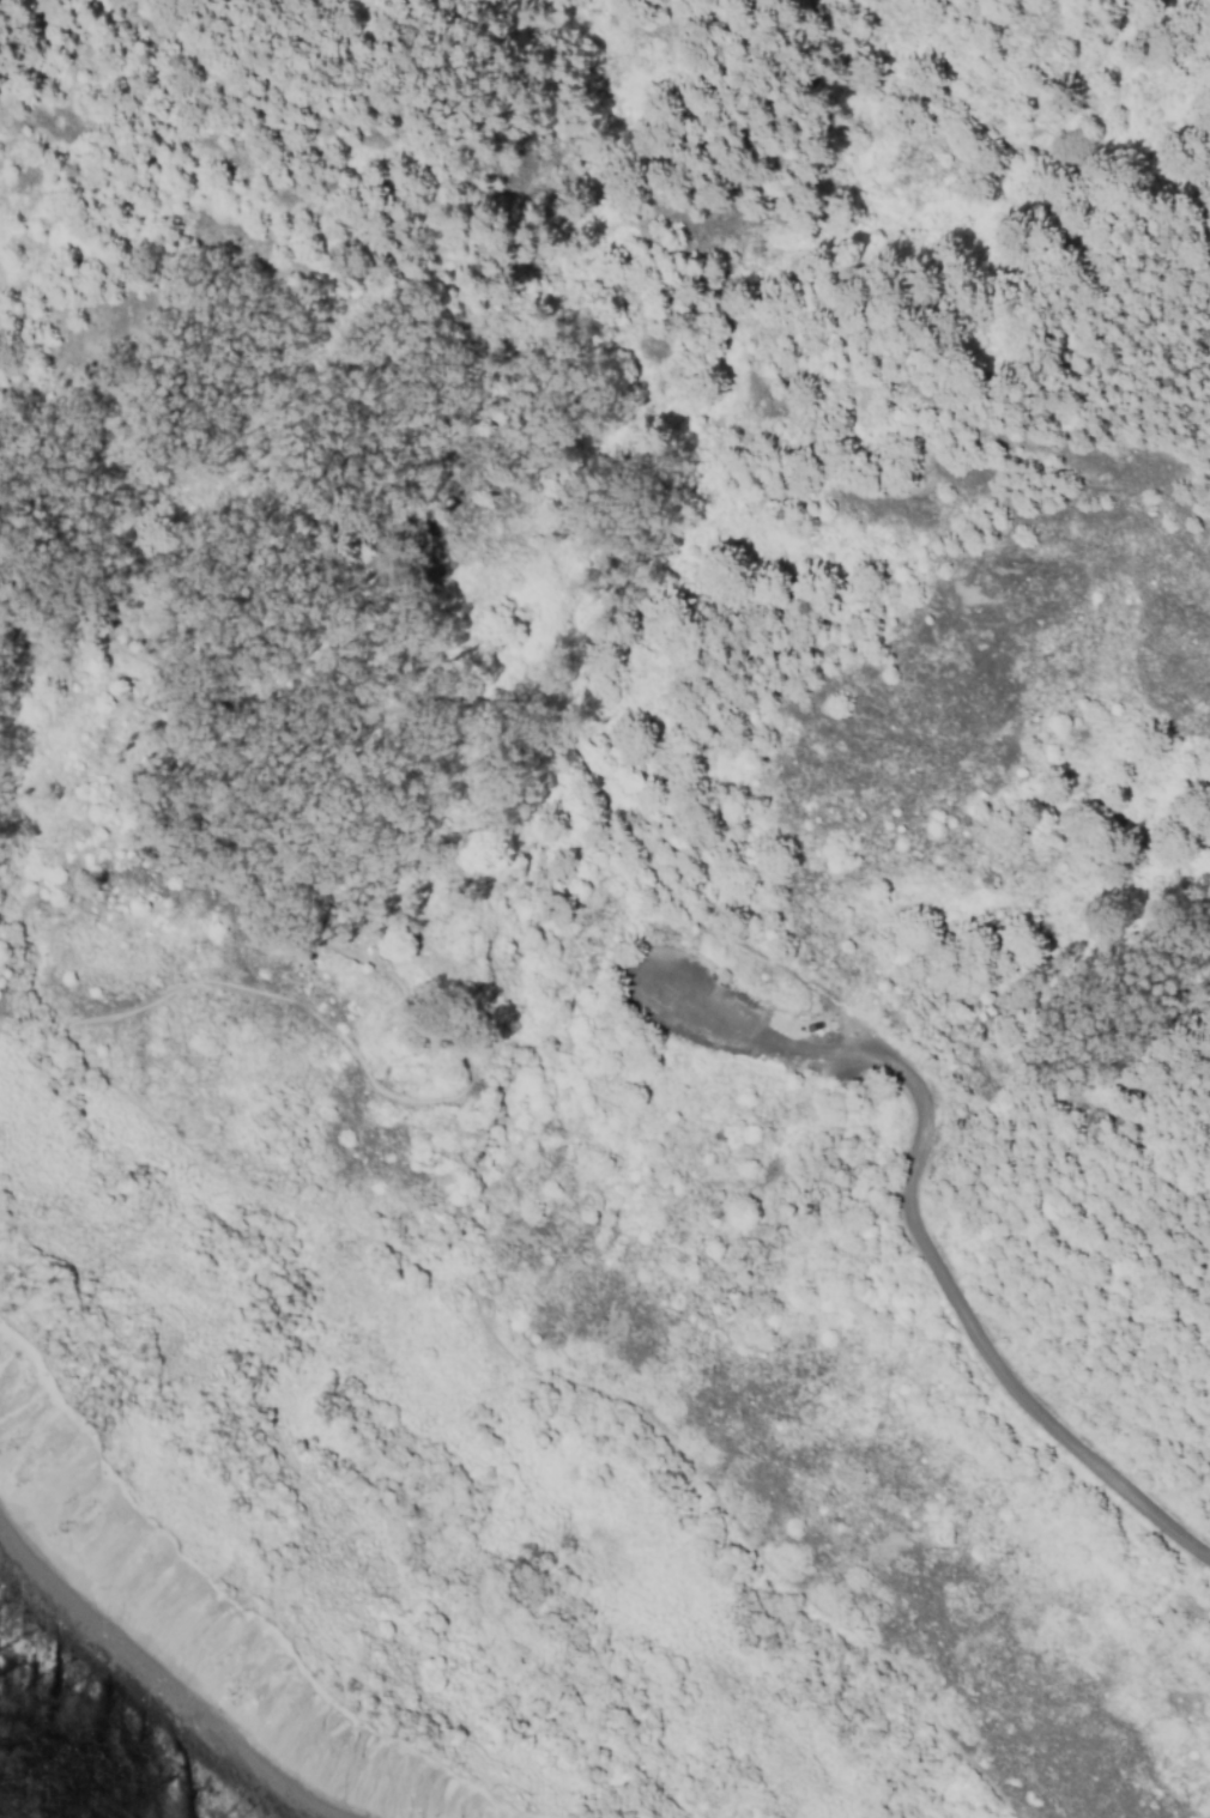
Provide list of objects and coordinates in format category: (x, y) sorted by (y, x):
road: (7, 299)
road: (125, 320)
road: (126, 654)
road: (553, 716)
road: (706, 934)
road: (692, 968)
road: (639, 977)
building: (724, 978)
road: (804, 980)
parking lot: (727, 1017)
building: (812, 1028)
road: (807, 1047)
road: (167, 1128)
road: (976, 1339)

